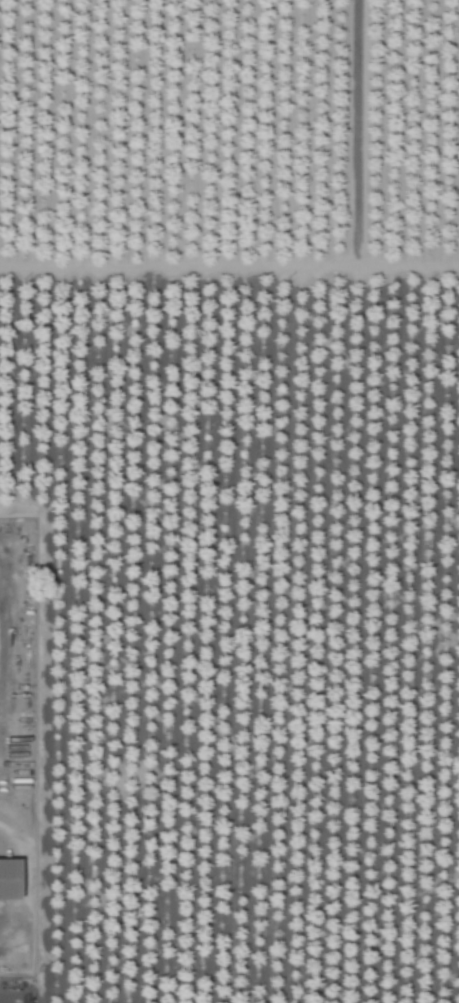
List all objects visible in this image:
road: (24, 877)
building: (11, 881)

